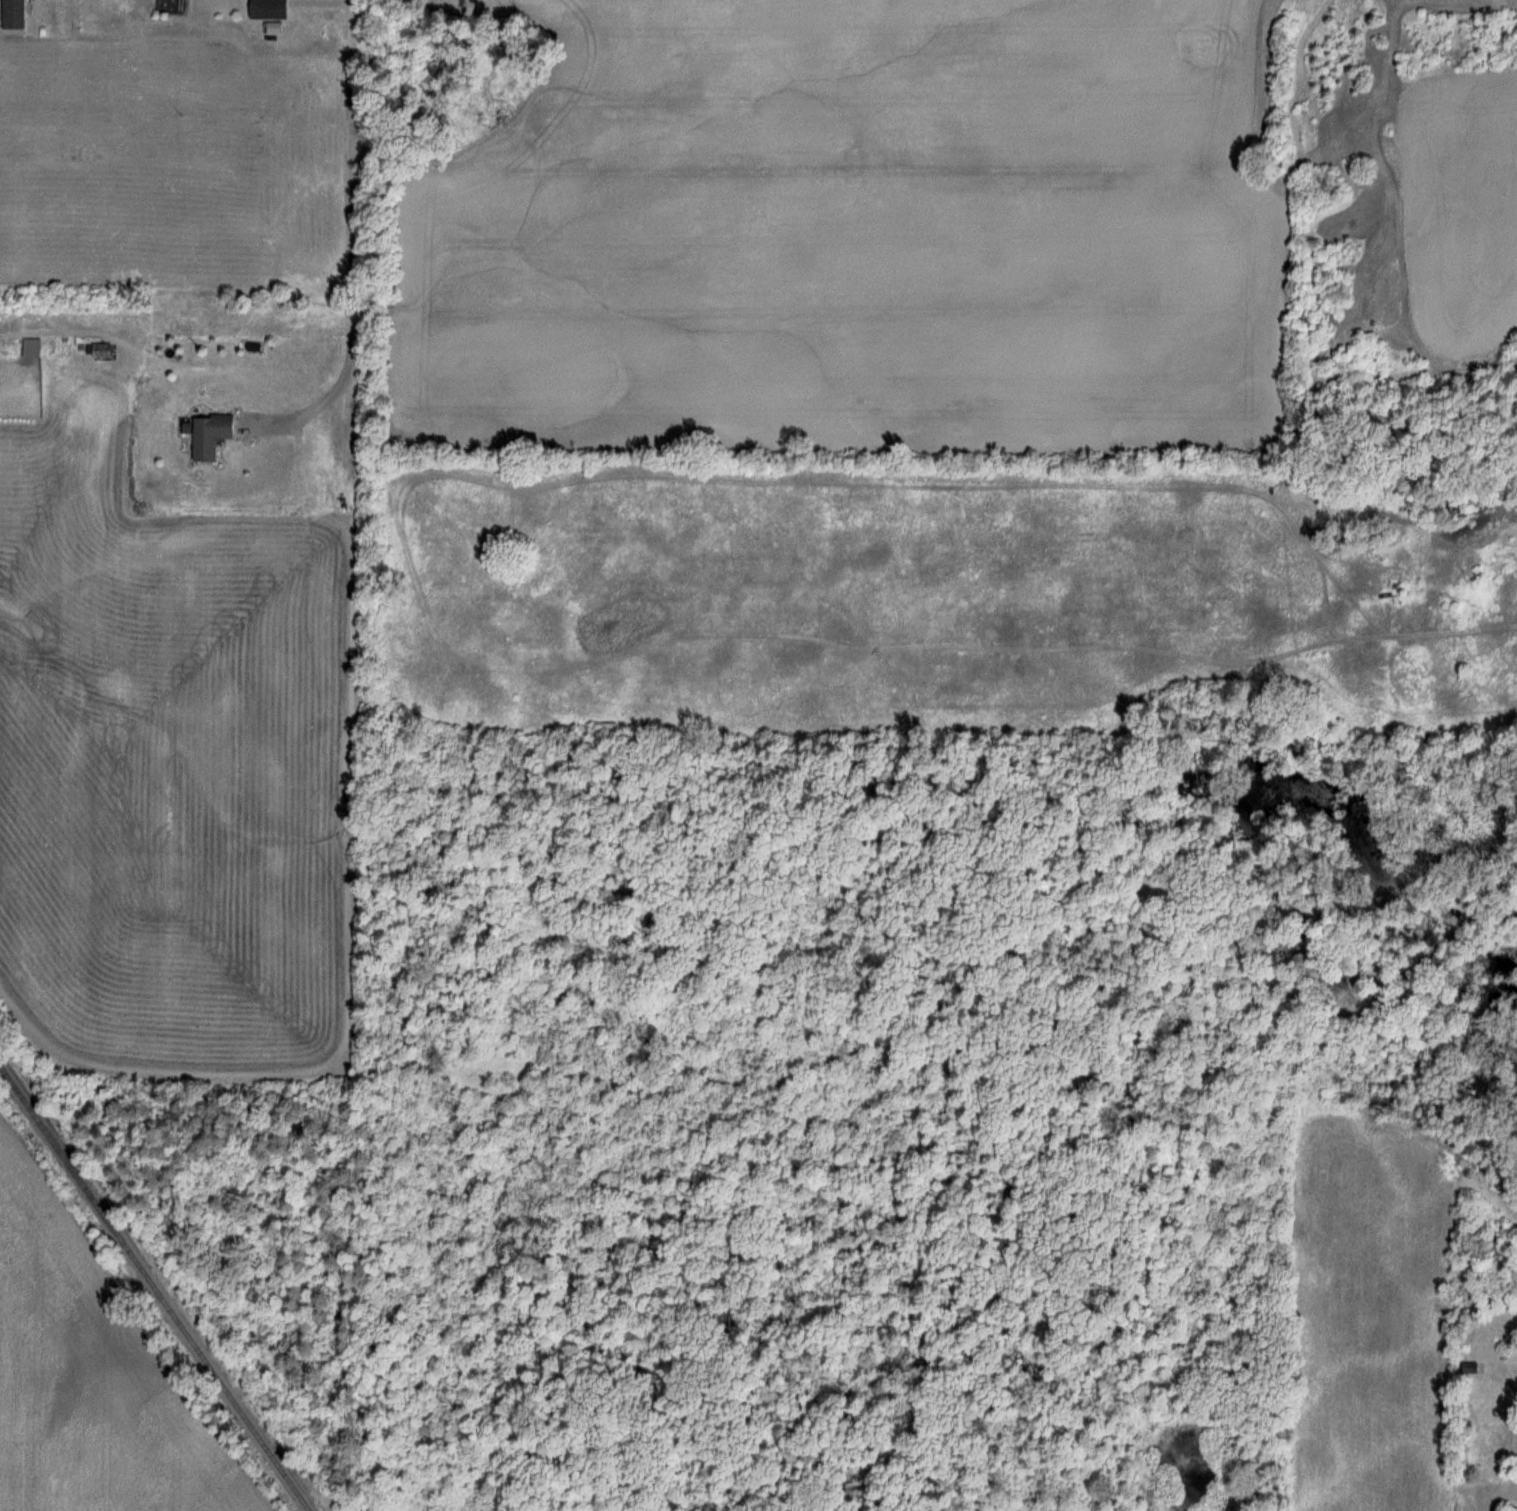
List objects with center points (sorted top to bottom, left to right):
building: (266, 9)
building: (11, 14)
road: (352, 242)
building: (207, 433)
railway: (155, 1287)

